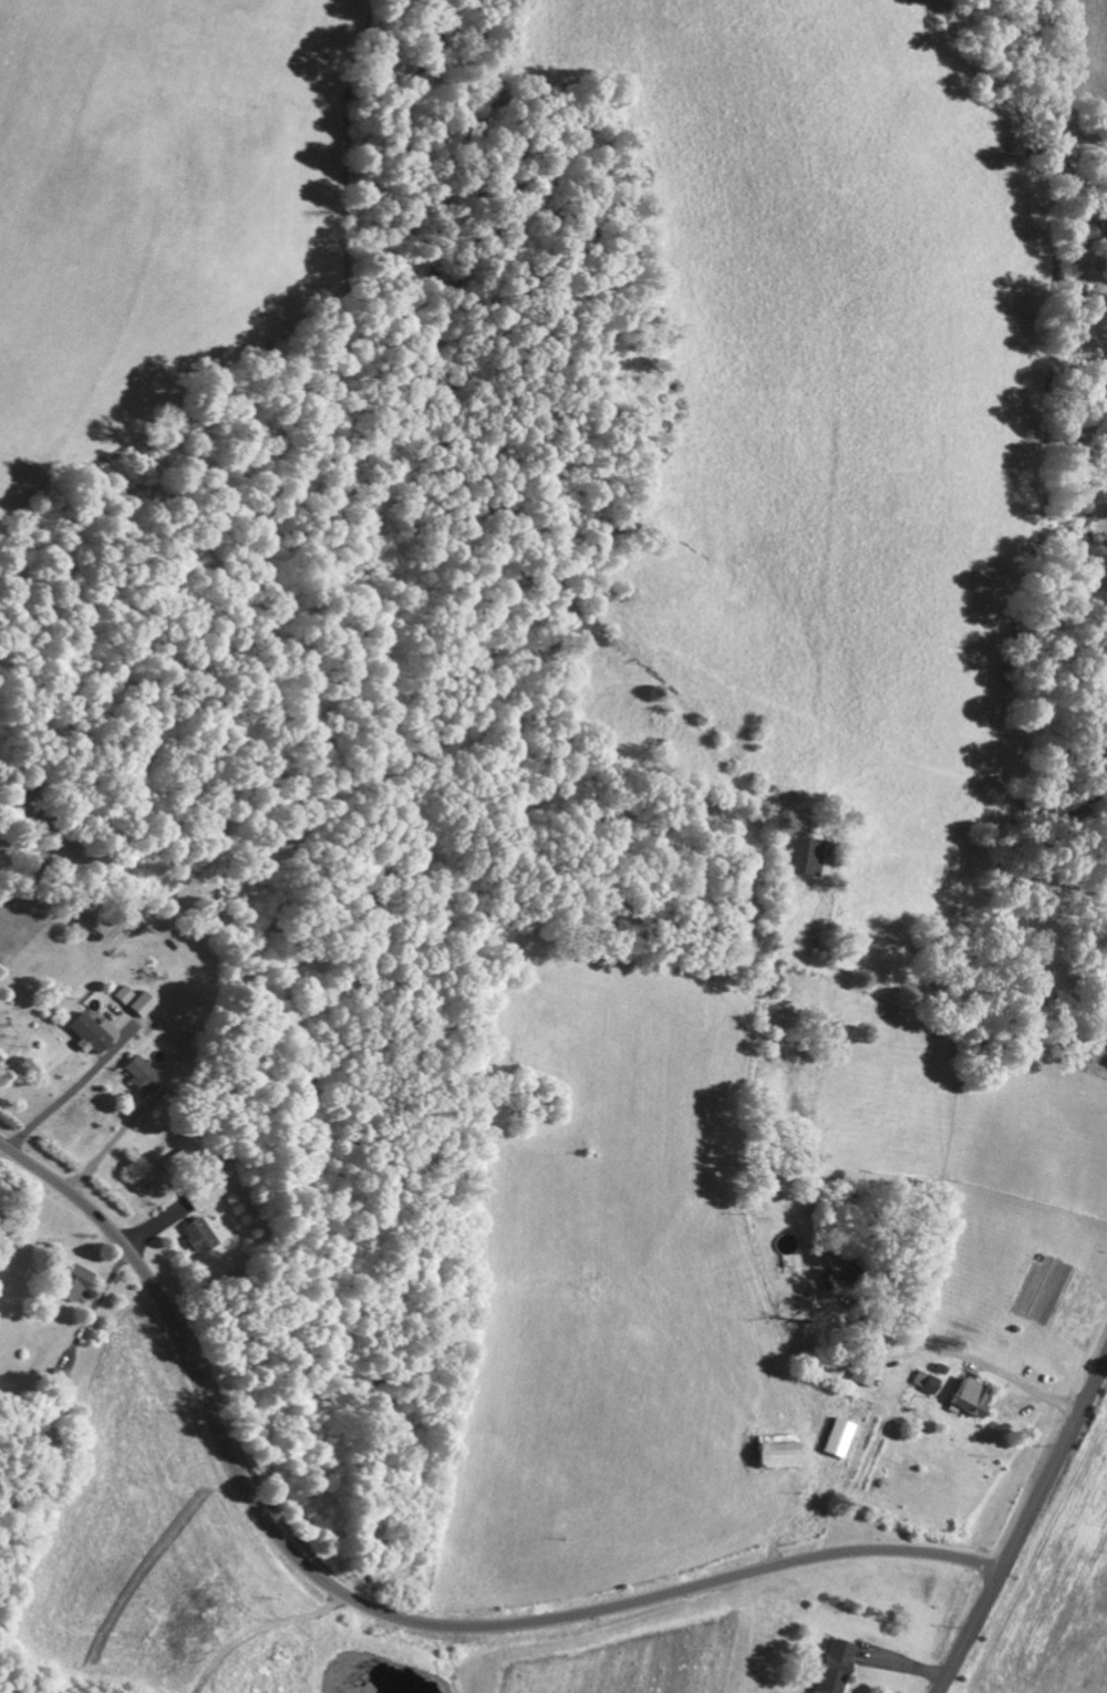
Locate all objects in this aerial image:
building: (795, 855)
building: (130, 989)
building: (113, 1021)
building: (145, 1073)
building: (177, 1159)
building: (758, 1194)
building: (80, 1282)
building: (860, 1374)
building: (922, 1381)
building: (961, 1396)
building: (832, 1437)
building: (770, 1453)
road: (1024, 1525)
road: (387, 1613)
building: (830, 1666)

